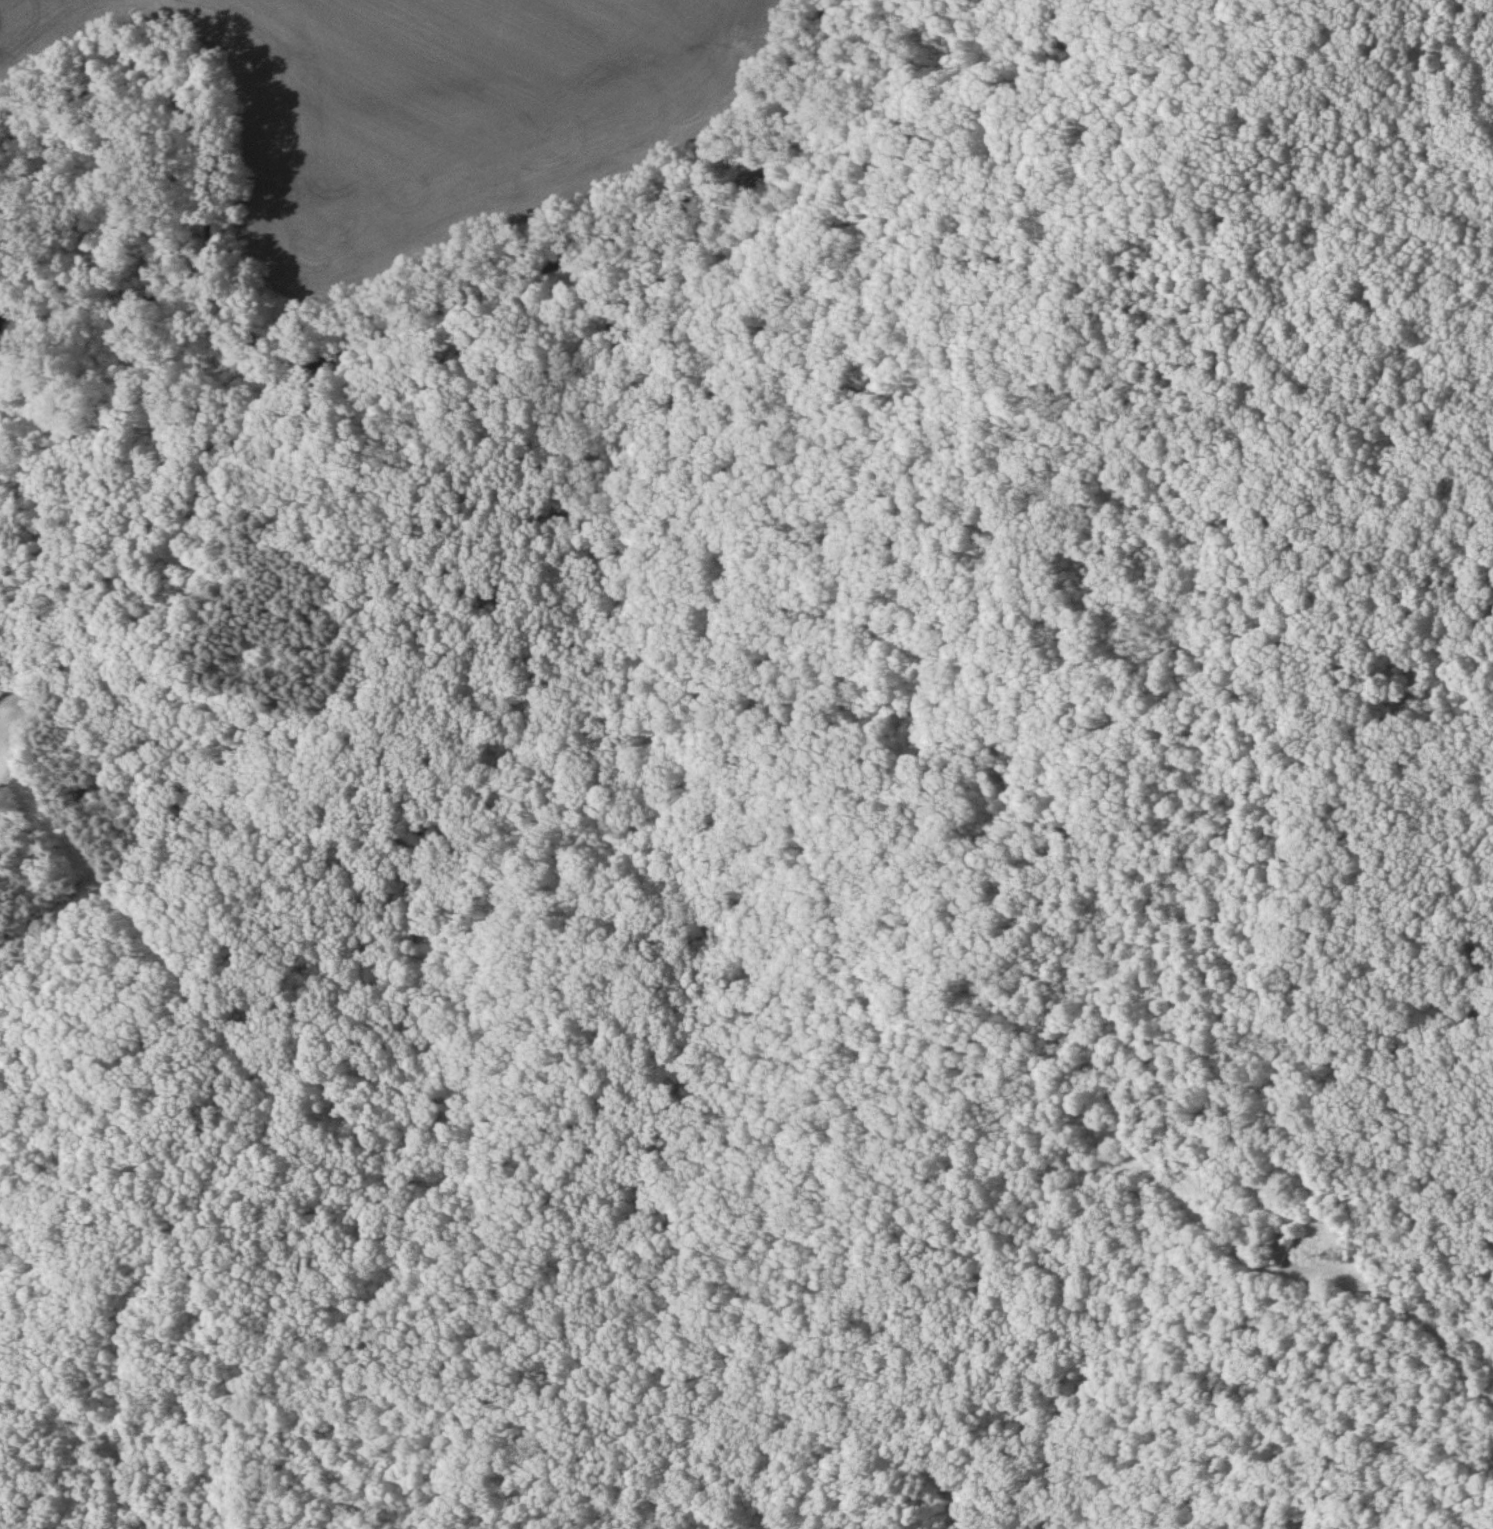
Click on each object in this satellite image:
crop: (435, 107)
road: (472, 337)
park: (746, 764)
road: (820, 828)
building: (1282, 1249)

